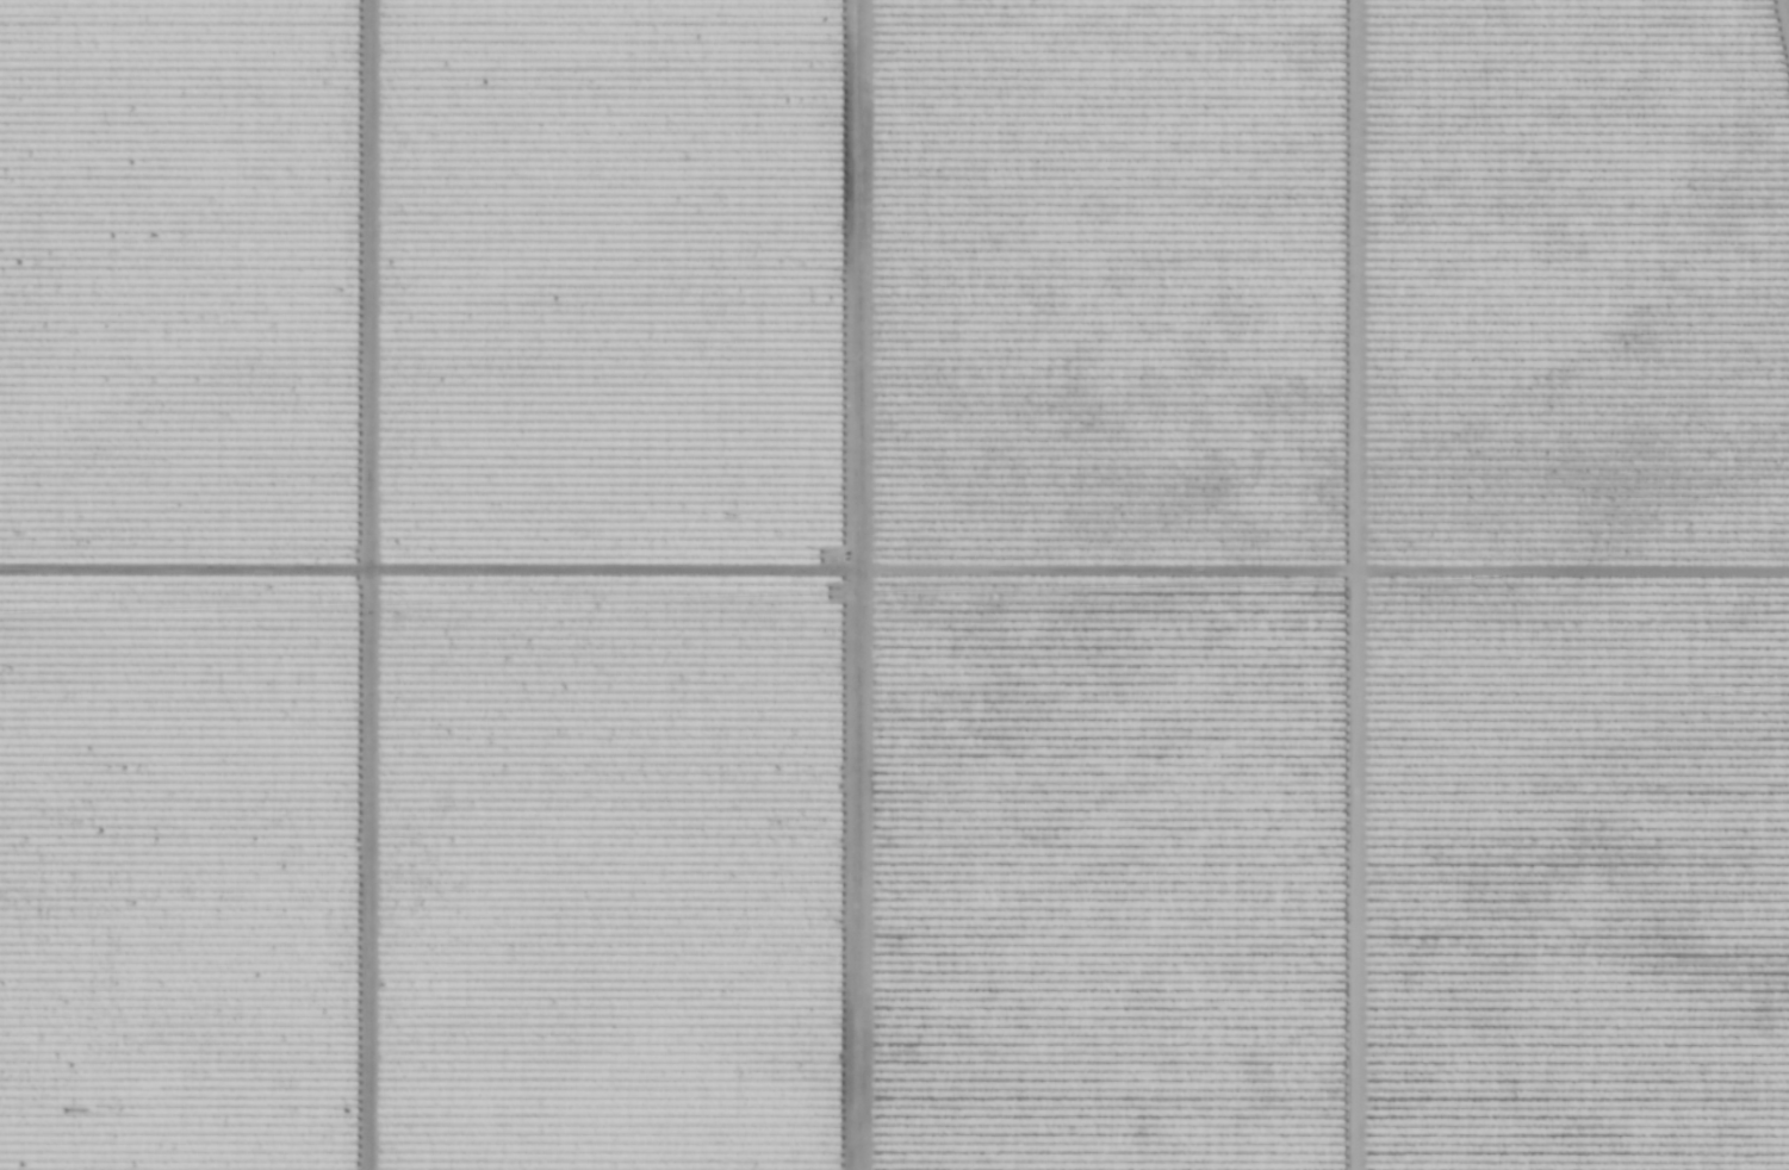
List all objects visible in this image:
crop: (893, 585)

